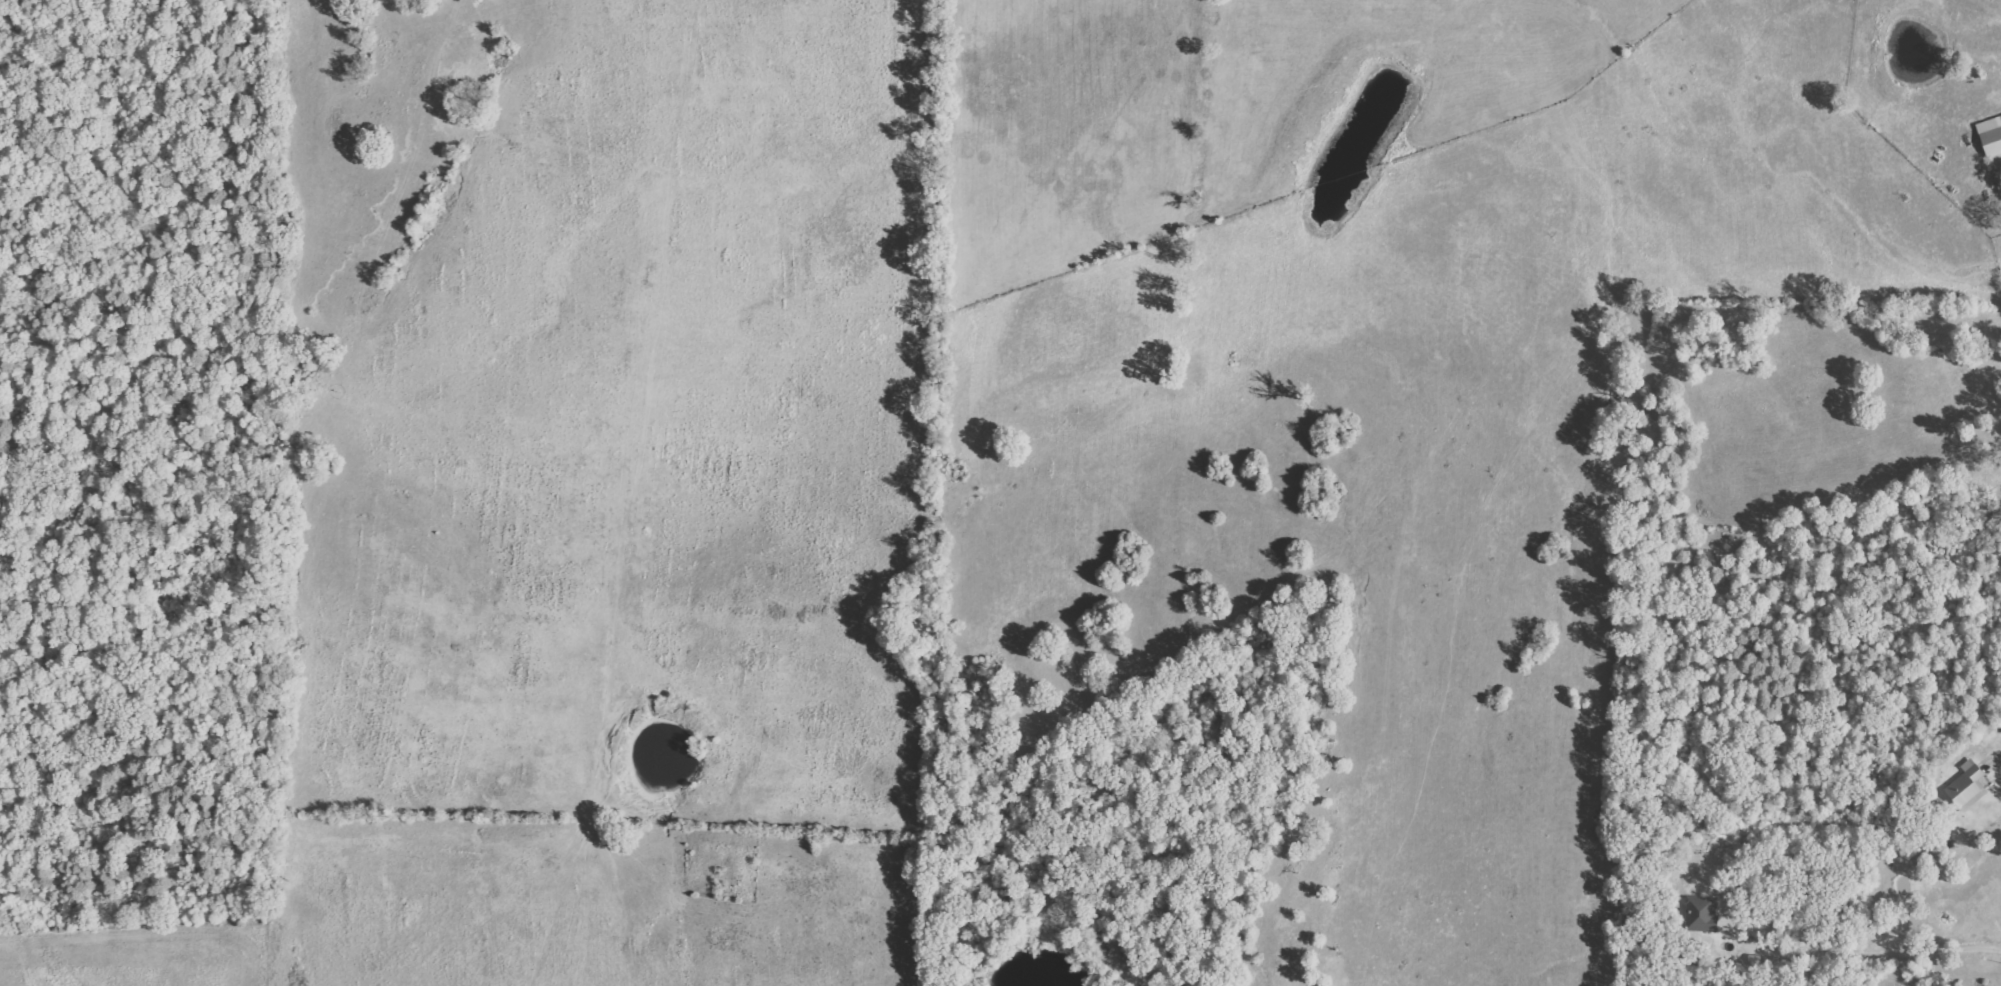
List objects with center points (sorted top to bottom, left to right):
building: (1991, 135)
road: (1998, 752)
building: (1967, 786)
building: (1702, 913)
road: (1866, 948)

